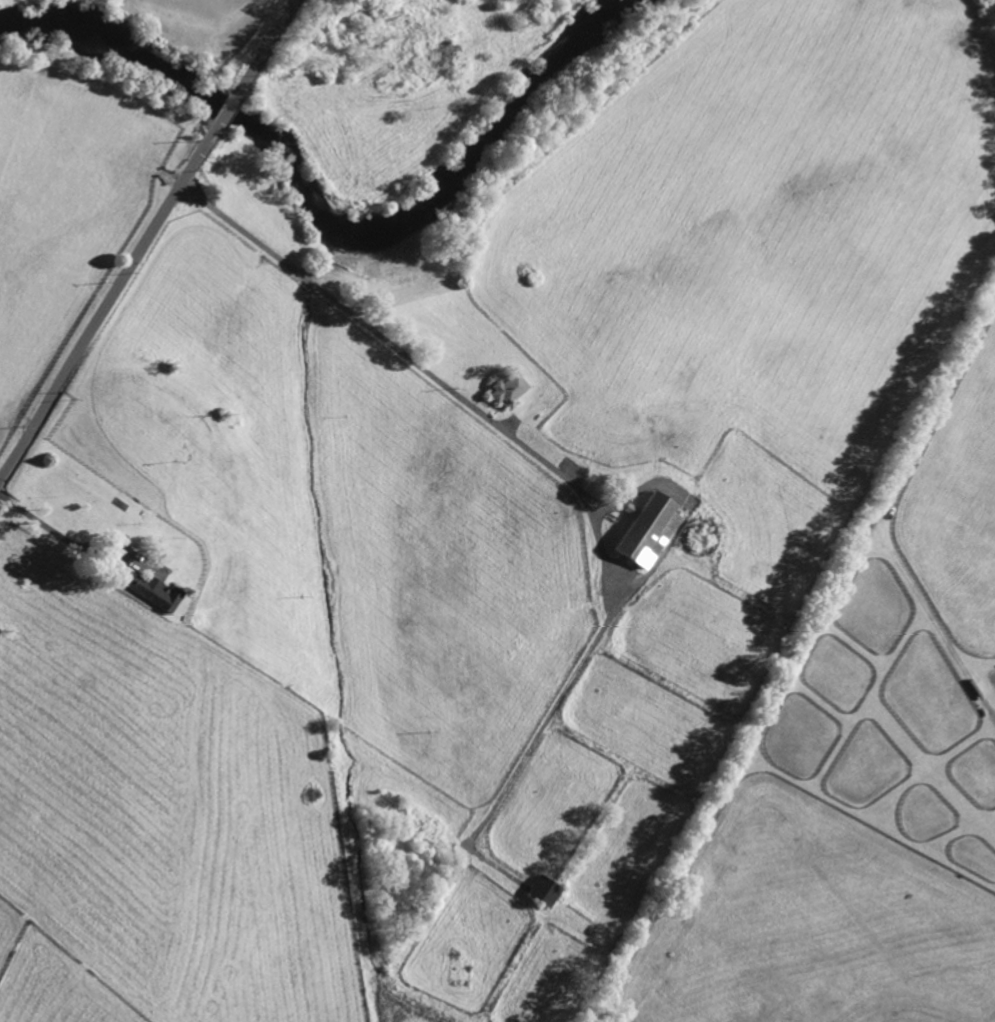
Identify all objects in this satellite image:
road: (265, 48)
road: (228, 110)
road: (241, 228)
road: (312, 285)
road: (110, 303)
building: (508, 389)
building: (648, 527)
road: (66, 539)
road: (602, 554)
building: (149, 588)
building: (545, 891)

